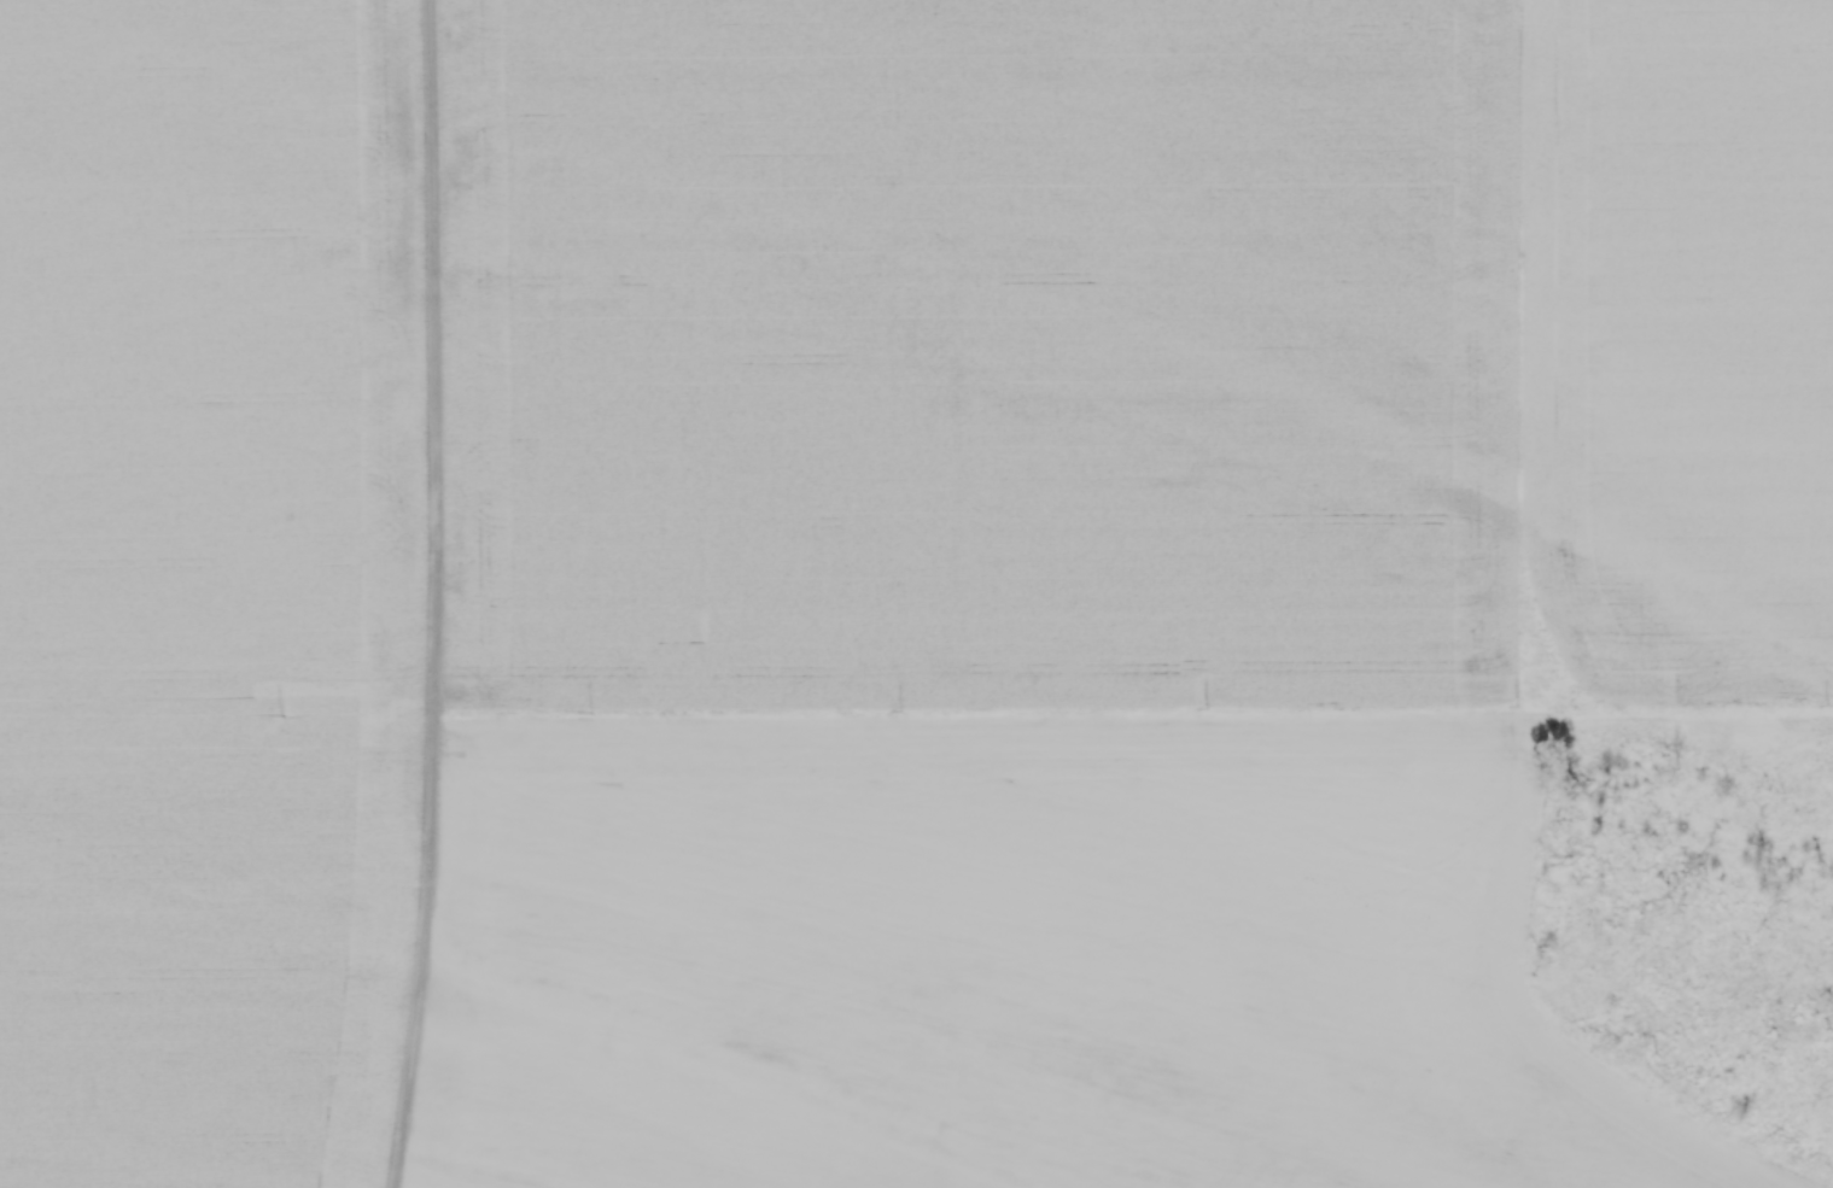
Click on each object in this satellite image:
power tower: (1828, 706)
power tower: (1517, 707)
power tower: (1210, 708)
power tower: (905, 710)
power tower: (592, 712)
power tower: (284, 714)

